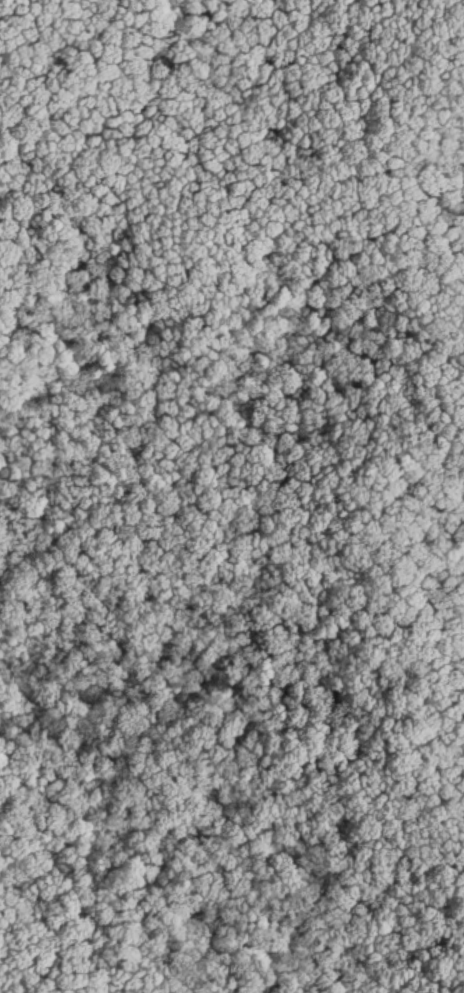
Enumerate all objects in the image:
road: (131, 42)

